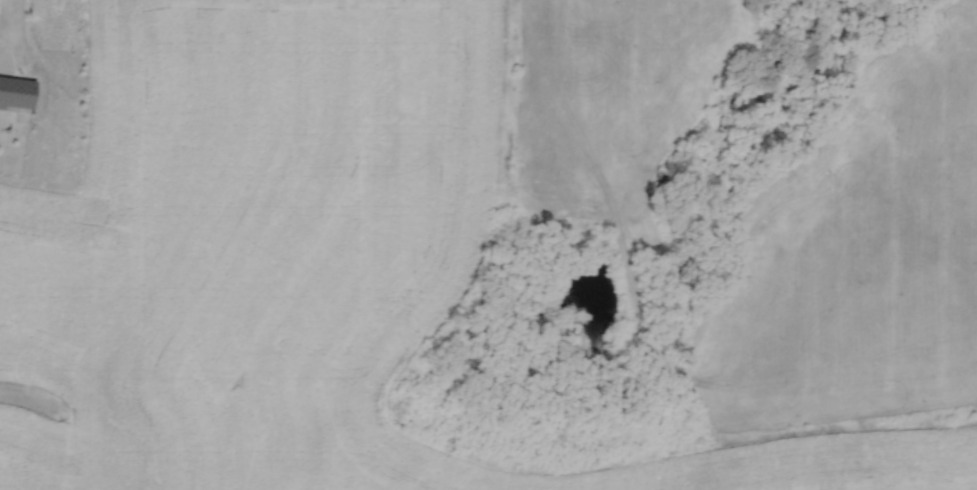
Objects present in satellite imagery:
building: (15, 95)

